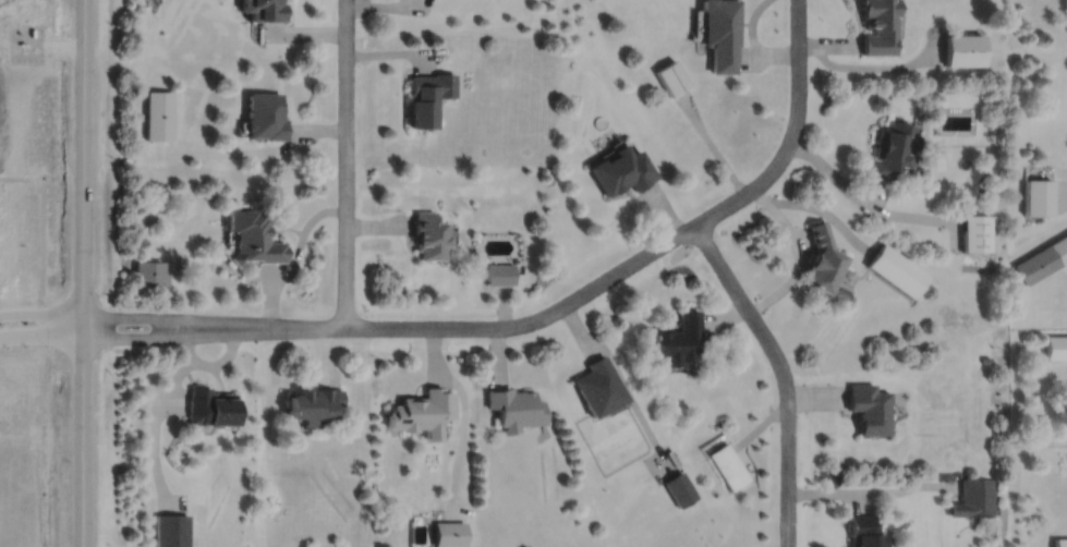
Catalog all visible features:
building: (264, 9)
building: (875, 26)
building: (717, 32)
building: (962, 49)
building: (670, 76)
building: (425, 97)
building: (157, 114)
building: (265, 116)
building: (892, 150)
road: (344, 162)
building: (620, 170)
building: (1035, 196)
building: (975, 232)
building: (426, 235)
building: (252, 238)
road: (797, 252)
road: (714, 256)
building: (821, 259)
building: (1042, 259)
building: (896, 271)
road: (82, 272)
building: (148, 273)
building: (498, 273)
road: (40, 314)
road: (175, 317)
road: (495, 327)
road: (40, 335)
road: (175, 336)
building: (677, 336)
building: (1056, 348)
building: (598, 384)
building: (314, 401)
building: (210, 404)
building: (513, 404)
building: (869, 409)
building: (421, 410)
building: (725, 459)
building: (680, 487)
building: (974, 497)
building: (170, 530)
building: (864, 531)
building: (448, 532)
building: (1060, 542)

